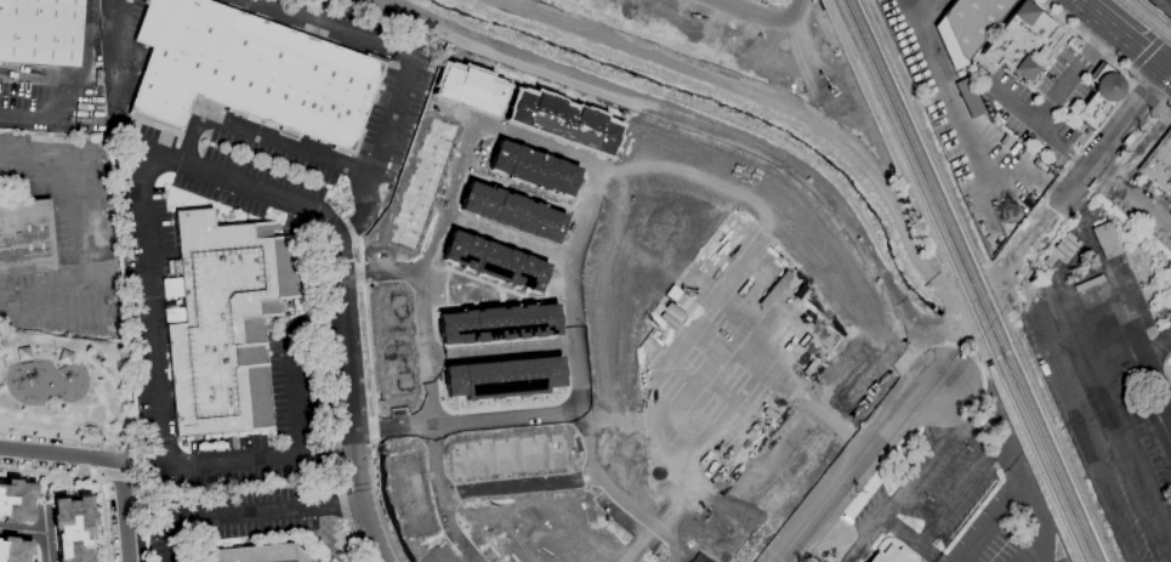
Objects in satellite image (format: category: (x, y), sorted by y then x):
building: (775, 0)
road: (1165, 4)
road: (926, 12)
railway: (1150, 16)
road: (738, 21)
railway: (1141, 23)
building: (967, 27)
building: (39, 32)
road: (1122, 35)
building: (1022, 40)
road: (113, 46)
road: (1149, 51)
road: (1104, 53)
road: (83, 64)
road: (409, 72)
traffic signals: (1167, 72)
building: (245, 73)
road: (1169, 73)
road: (1073, 74)
road: (945, 91)
building: (1101, 96)
building: (966, 97)
road: (22, 115)
road: (1029, 118)
road: (258, 135)
road: (1110, 137)
road: (1074, 159)
building: (1159, 164)
road: (778, 187)
road: (1133, 187)
road: (254, 189)
power tower: (1008, 206)
road: (586, 220)
building: (24, 238)
building: (1108, 240)
road: (672, 245)
building: (1064, 248)
railway: (962, 280)
railway: (976, 280)
road: (152, 310)
building: (226, 320)
road: (1159, 350)
road: (1001, 354)
building: (721, 358)
road: (991, 361)
road: (982, 365)
road: (602, 375)
park: (66, 388)
road: (1159, 392)
road: (352, 407)
road: (1120, 415)
road: (426, 424)
road: (908, 435)
road: (32, 448)
road: (1088, 450)
road: (280, 452)
road: (778, 458)
road: (860, 466)
road: (914, 475)
road: (972, 479)
road: (121, 487)
road: (515, 487)
building: (13, 499)
road: (994, 507)
road: (244, 509)
road: (1039, 523)
road: (22, 526)
building: (72, 528)
road: (44, 532)
building: (13, 550)
building: (255, 555)
building: (891, 555)
road: (927, 555)

